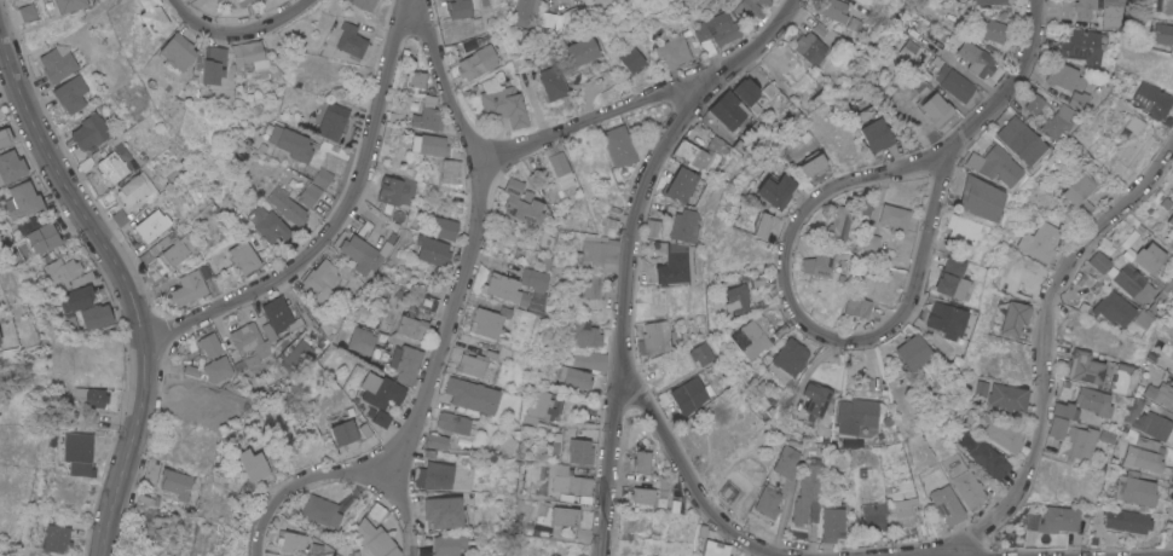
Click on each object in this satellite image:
building: (215, 0)
building: (218, 0)
building: (235, 0)
building: (242, 1)
building: (990, 1)
building: (364, 4)
building: (70, 5)
building: (1084, 7)
building: (457, 8)
building: (577, 10)
building: (834, 10)
building: (525, 11)
building: (750, 11)
building: (28, 12)
building: (1111, 13)
building: (152, 16)
building: (543, 27)
building: (718, 29)
building: (996, 30)
road: (237, 31)
building: (1163, 33)
building: (330, 34)
building: (351, 40)
building: (816, 42)
building: (1081, 46)
building: (324, 47)
building: (672, 48)
building: (177, 51)
building: (580, 51)
building: (255, 58)
building: (976, 58)
building: (631, 59)
building: (476, 62)
building: (58, 63)
building: (210, 64)
building: (1062, 75)
building: (415, 79)
building: (953, 80)
building: (551, 82)
road: (441, 83)
road: (1007, 88)
building: (749, 92)
building: (71, 93)
building: (1077, 99)
building: (1034, 102)
building: (1154, 102)
building: (503, 103)
building: (937, 110)
building: (428, 115)
building: (331, 120)
road: (588, 120)
building: (732, 121)
building: (1057, 122)
building: (1134, 126)
building: (871, 129)
building: (89, 132)
building: (5, 137)
building: (1021, 140)
building: (290, 143)
building: (429, 145)
building: (619, 145)
building: (698, 157)
building: (995, 164)
building: (813, 166)
building: (11, 167)
building: (111, 167)
building: (560, 168)
building: (308, 173)
building: (449, 173)
building: (323, 178)
building: (681, 184)
building: (137, 190)
building: (1080, 190)
building: (395, 191)
building: (775, 191)
building: (310, 193)
building: (980, 198)
building: (23, 201)
building: (521, 203)
building: (287, 205)
building: (255, 214)
building: (894, 216)
building: (120, 218)
building: (845, 219)
road: (336, 220)
building: (1169, 220)
building: (763, 224)
building: (686, 225)
building: (151, 226)
building: (271, 227)
building: (445, 227)
road: (930, 227)
building: (654, 228)
building: (963, 228)
building: (39, 233)
building: (855, 236)
building: (1128, 238)
building: (1041, 241)
building: (869, 244)
road: (630, 248)
building: (432, 250)
building: (168, 251)
building: (601, 251)
building: (362, 254)
building: (244, 256)
building: (1149, 256)
road: (785, 259)
building: (819, 261)
building: (1099, 261)
building: (541, 262)
building: (677, 265)
building: (203, 270)
building: (62, 272)
road: (125, 280)
building: (952, 280)
building: (320, 282)
building: (1133, 283)
building: (589, 285)
building: (533, 286)
building: (187, 289)
building: (504, 289)
building: (1162, 297)
building: (736, 299)
building: (75, 302)
building: (427, 302)
building: (856, 307)
building: (1082, 307)
building: (1114, 308)
building: (96, 315)
building: (1015, 318)
building: (1143, 318)
building: (949, 319)
building: (487, 322)
building: (411, 326)
building: (1169, 329)
building: (265, 330)
road: (444, 330)
building: (586, 334)
building: (659, 337)
building: (750, 338)
road: (1044, 343)
building: (210, 344)
building: (366, 344)
building: (913, 352)
building: (701, 353)
building: (297, 355)
building: (790, 357)
building: (590, 360)
building: (405, 364)
building: (475, 365)
building: (1085, 367)
building: (218, 369)
building: (574, 378)
building: (381, 390)
building: (1001, 394)
building: (1161, 394)
building: (89, 395)
building: (470, 395)
building: (689, 395)
building: (815, 398)
building: (1094, 404)
building: (538, 406)
building: (1136, 407)
building: (1065, 410)
building: (574, 413)
building: (855, 415)
building: (379, 417)
building: (453, 423)
building: (1155, 425)
building: (1056, 427)
building: (364, 429)
building: (342, 430)
building: (1000, 432)
building: (1104, 436)
building: (437, 441)
building: (637, 442)
building: (1080, 442)
building: (1146, 444)
building: (580, 451)
building: (77, 453)
building: (428, 454)
building: (982, 454)
building: (1146, 458)
building: (642, 462)
building: (785, 462)
building: (253, 465)
building: (151, 471)
road: (686, 471)
road: (333, 475)
building: (438, 475)
building: (567, 480)
building: (175, 482)
building: (665, 486)
building: (967, 488)
building: (1134, 490)
building: (807, 493)
building: (643, 494)
building: (145, 499)
building: (765, 502)
building: (946, 505)
building: (320, 511)
building: (443, 511)
building: (902, 511)
building: (376, 512)
building: (873, 516)
building: (553, 519)
building: (1053, 520)
building: (1128, 520)
building: (831, 521)
building: (158, 526)
building: (376, 539)
building: (58, 540)
building: (291, 543)
building: (449, 544)
building: (314, 548)
road: (745, 548)
building: (713, 549)
building: (422, 551)
building: (270, 554)
road: (950, 555)

